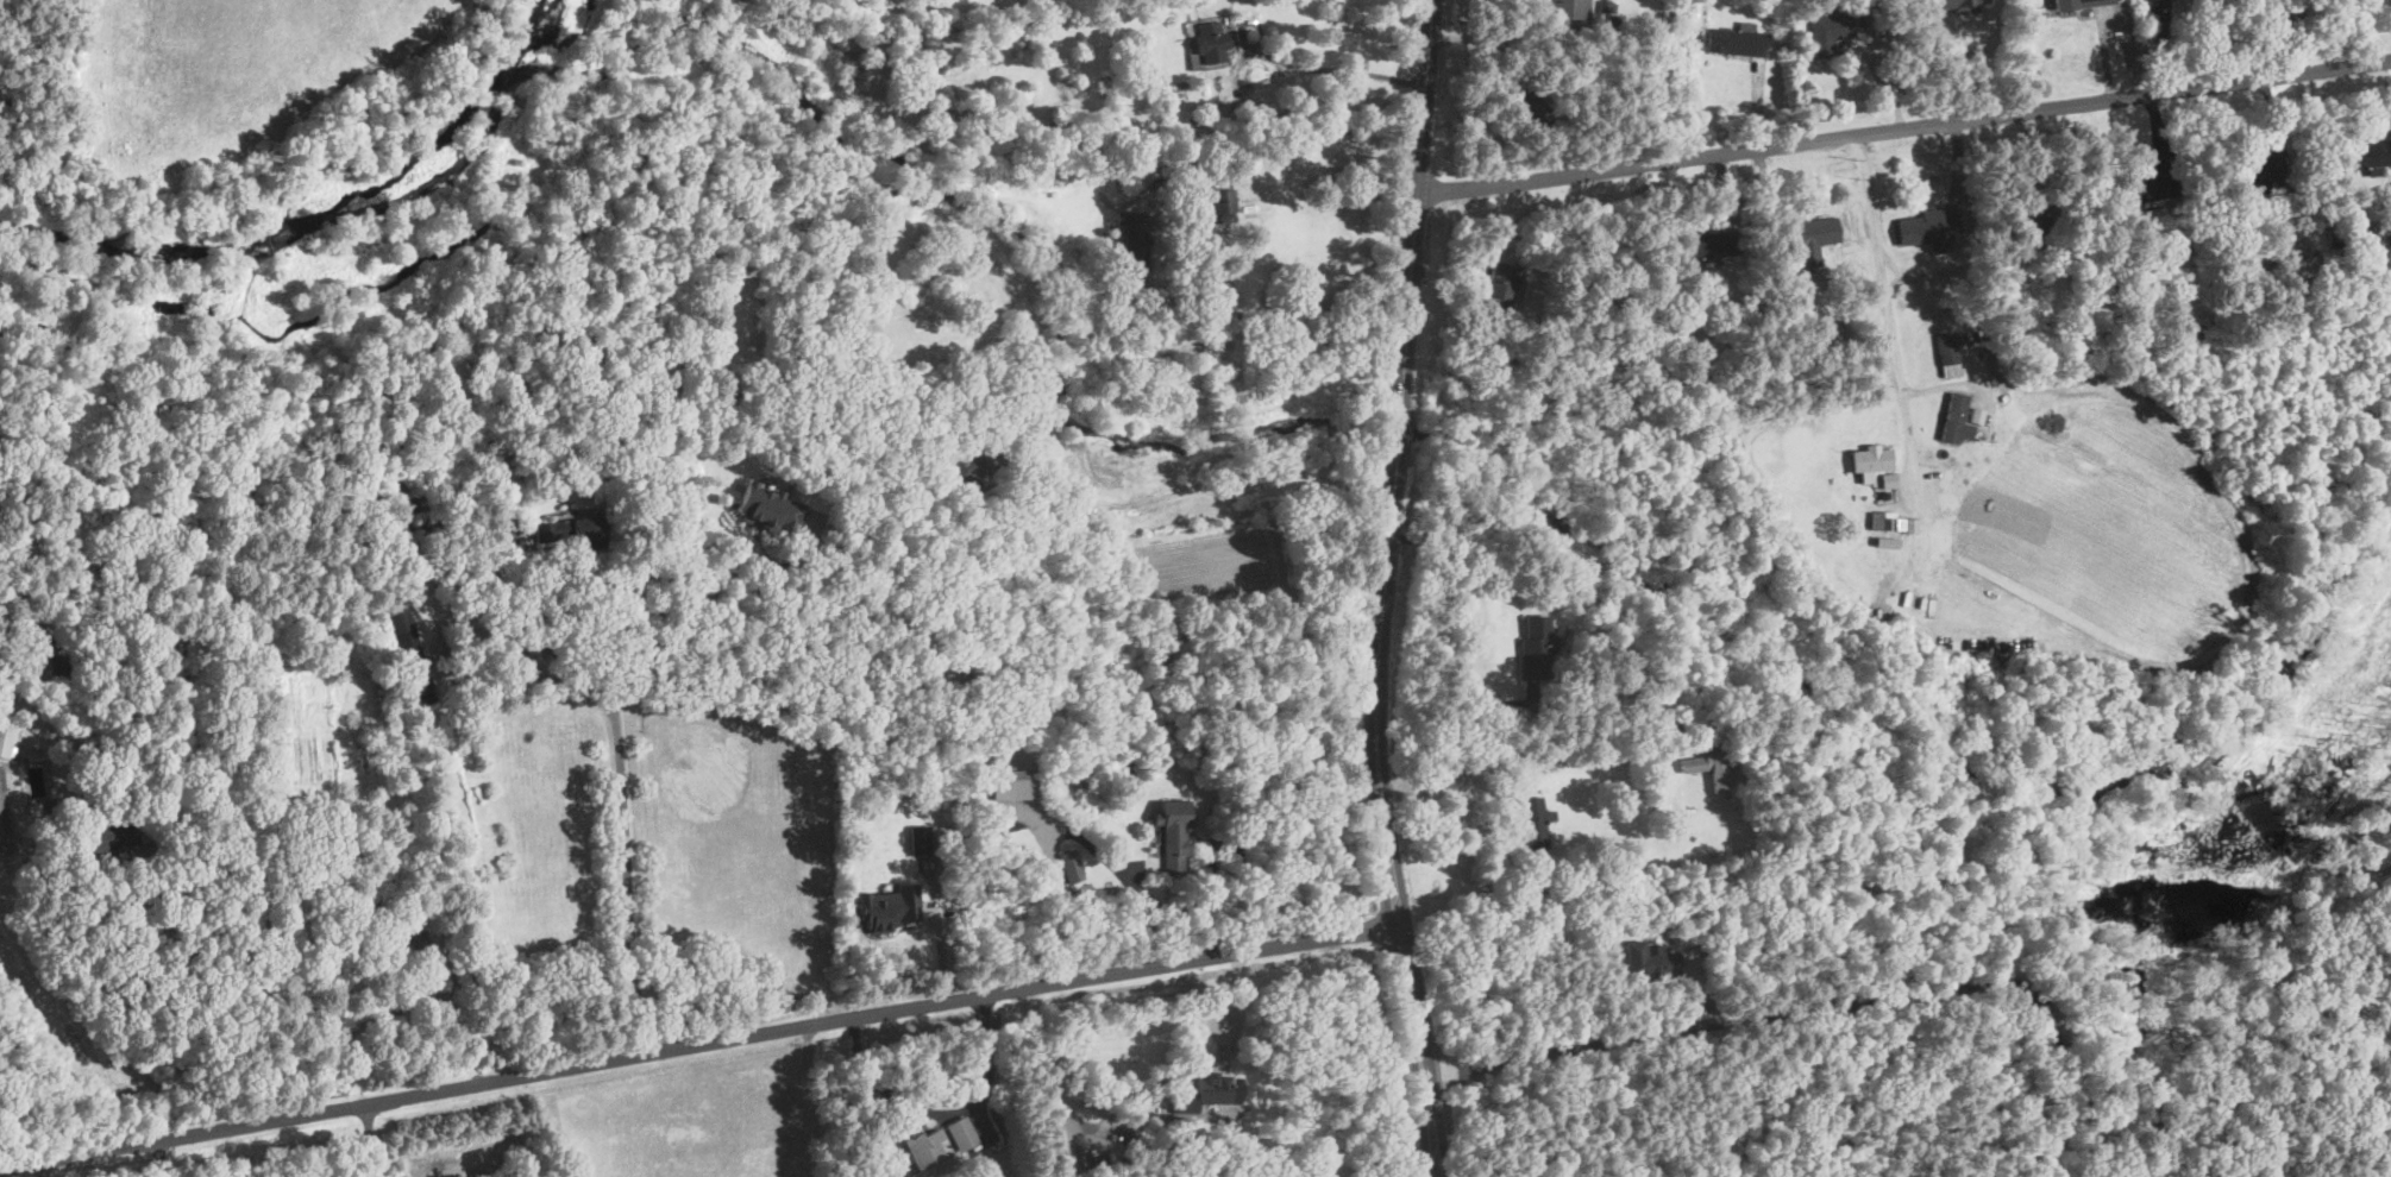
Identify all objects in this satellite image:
building: (1951, 2)
building: (2081, 4)
building: (1607, 7)
building: (1560, 10)
building: (1191, 27)
building: (1608, 32)
building: (1831, 33)
road: (2334, 37)
building: (1739, 40)
building: (1212, 43)
road: (1975, 61)
road: (1339, 70)
road: (1881, 76)
road: (1697, 78)
building: (1527, 102)
road: (1904, 127)
road: (1297, 139)
building: (2365, 158)
building: (2255, 171)
building: (2145, 190)
building: (1223, 202)
building: (2039, 225)
building: (1929, 231)
building: (2342, 238)
building: (1816, 239)
building: (1135, 240)
building: (2377, 240)
building: (1706, 245)
building: (2302, 248)
building: (2082, 251)
road: (1489, 256)
building: (927, 264)
road: (1884, 281)
building: (1501, 291)
building: (1833, 335)
building: (1948, 350)
building: (1968, 353)
building: (1701, 383)
building: (873, 391)
building: (934, 392)
building: (1954, 416)
building: (1874, 459)
building: (989, 462)
building: (967, 473)
building: (1889, 479)
building: (1884, 496)
road: (1143, 502)
building: (770, 509)
building: (0, 516)
building: (101, 520)
building: (1109, 524)
building: (1889, 524)
building: (575, 533)
road: (1386, 590)
road: (640, 618)
road: (1468, 621)
road: (766, 622)
building: (34, 635)
road: (546, 643)
building: (1537, 649)
building: (410, 652)
building: (59, 656)
road: (506, 685)
road: (701, 687)
building: (0, 741)
building: (6, 741)
building: (1709, 766)
building: (1013, 789)
building: (956, 810)
building: (1537, 824)
building: (1174, 833)
building: (148, 835)
building: (108, 836)
building: (920, 839)
building: (1073, 867)
building: (1586, 869)
road: (625, 881)
building: (891, 907)
road: (941, 938)
building: (427, 959)
building: (1652, 961)
building: (470, 975)
road: (201, 1002)
road: (1830, 1006)
road: (699, 1044)
road: (1050, 1085)
building: (1209, 1093)
road: (808, 1101)
road: (945, 1113)
building: (962, 1135)
road: (374, 1139)
building: (925, 1150)
road: (161, 1159)
road: (44, 1167)
building: (1038, 1173)

